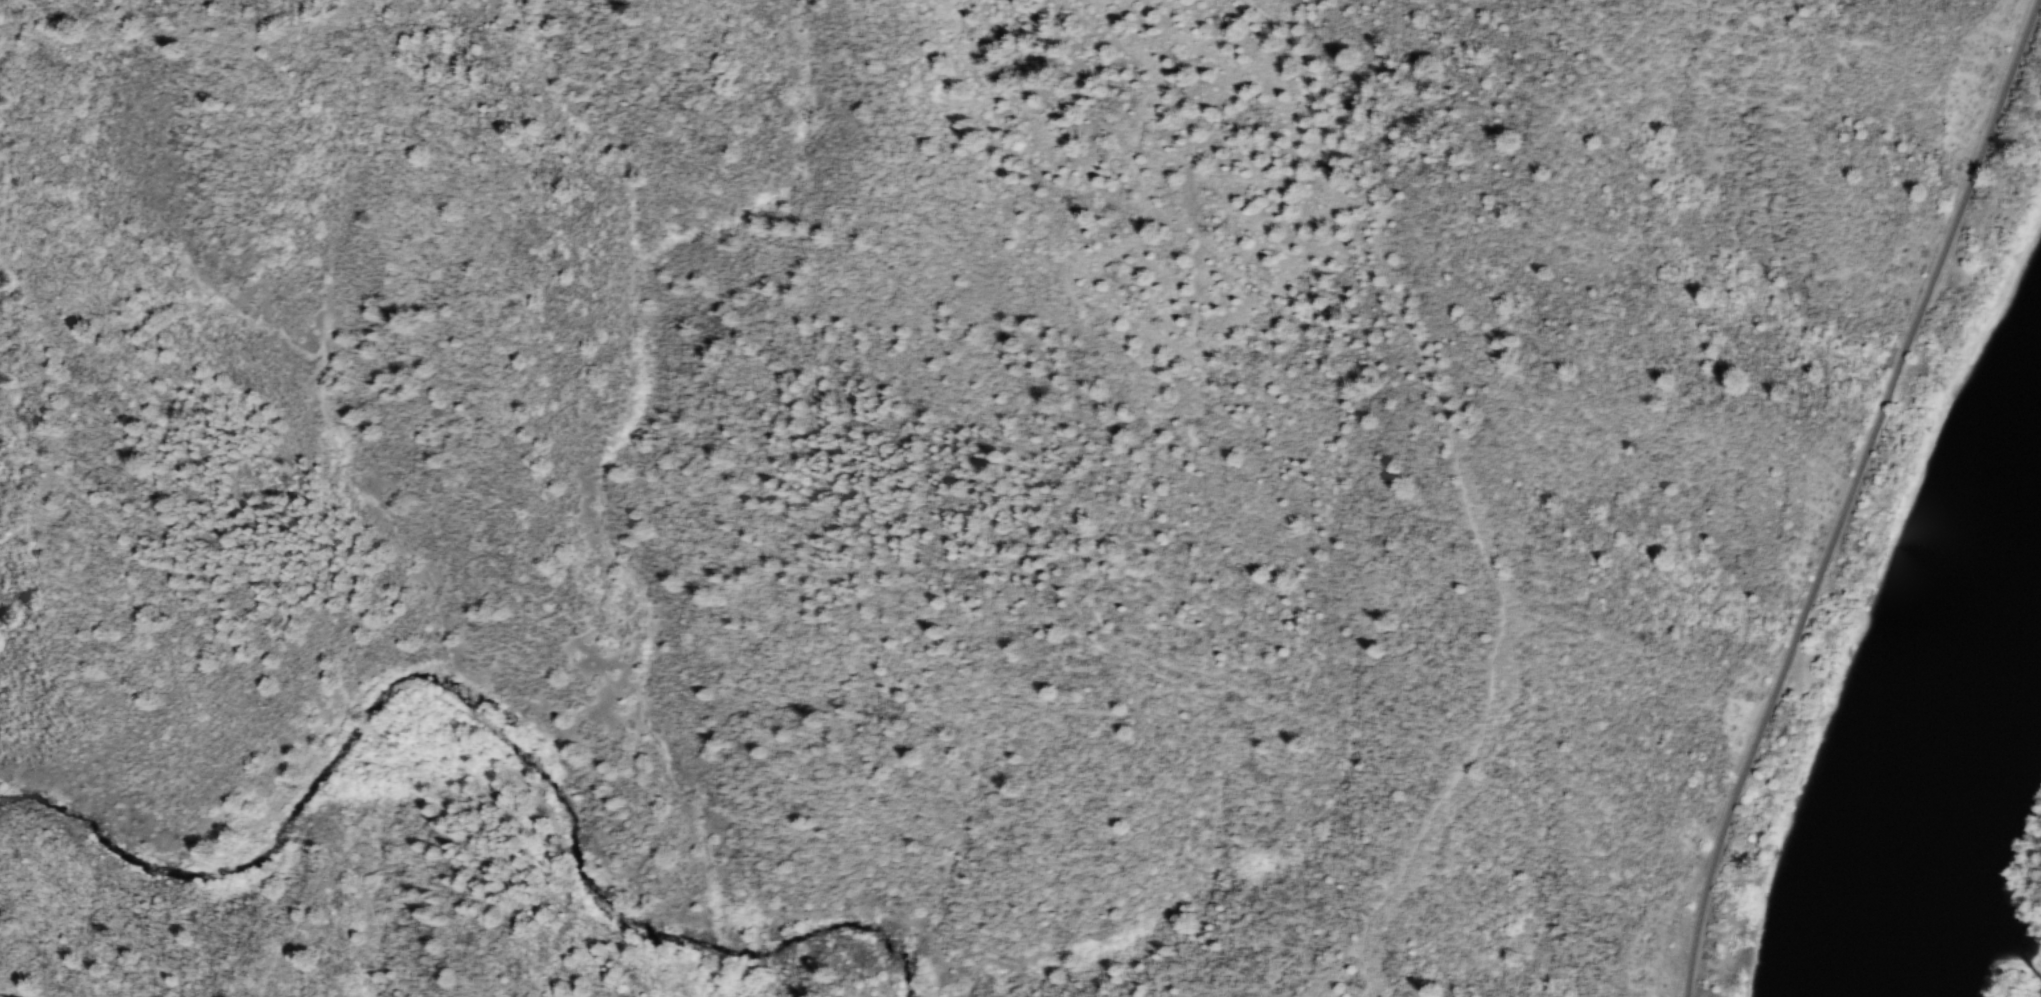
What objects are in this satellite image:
road: (1849, 494)
river: (1950, 757)

